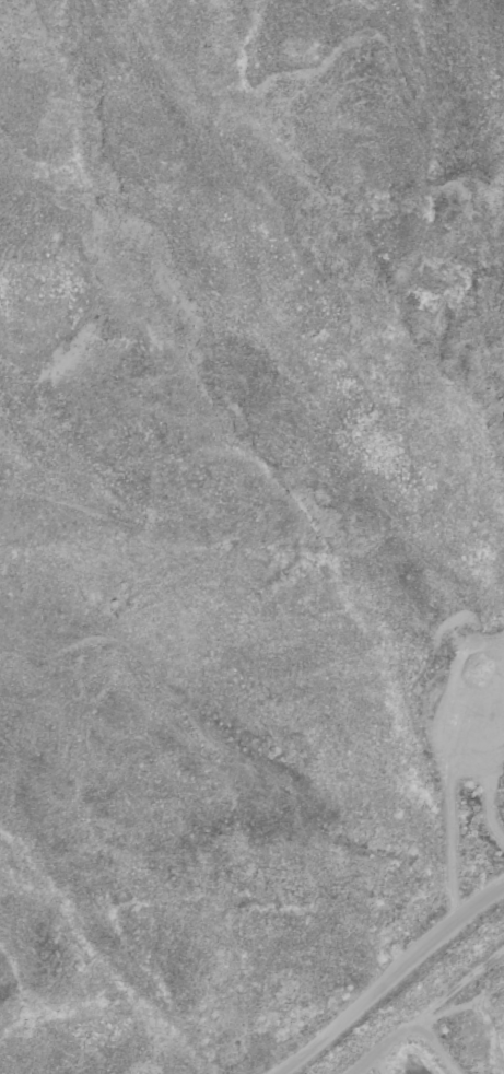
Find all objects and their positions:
road: (394, 984)

